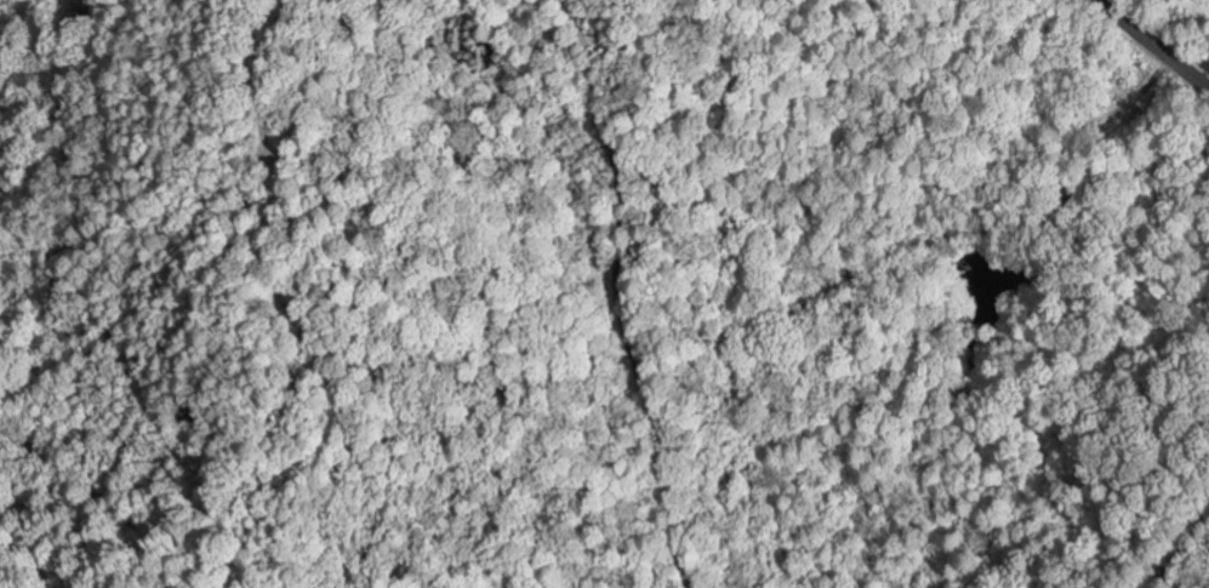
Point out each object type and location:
road: (1157, 42)

